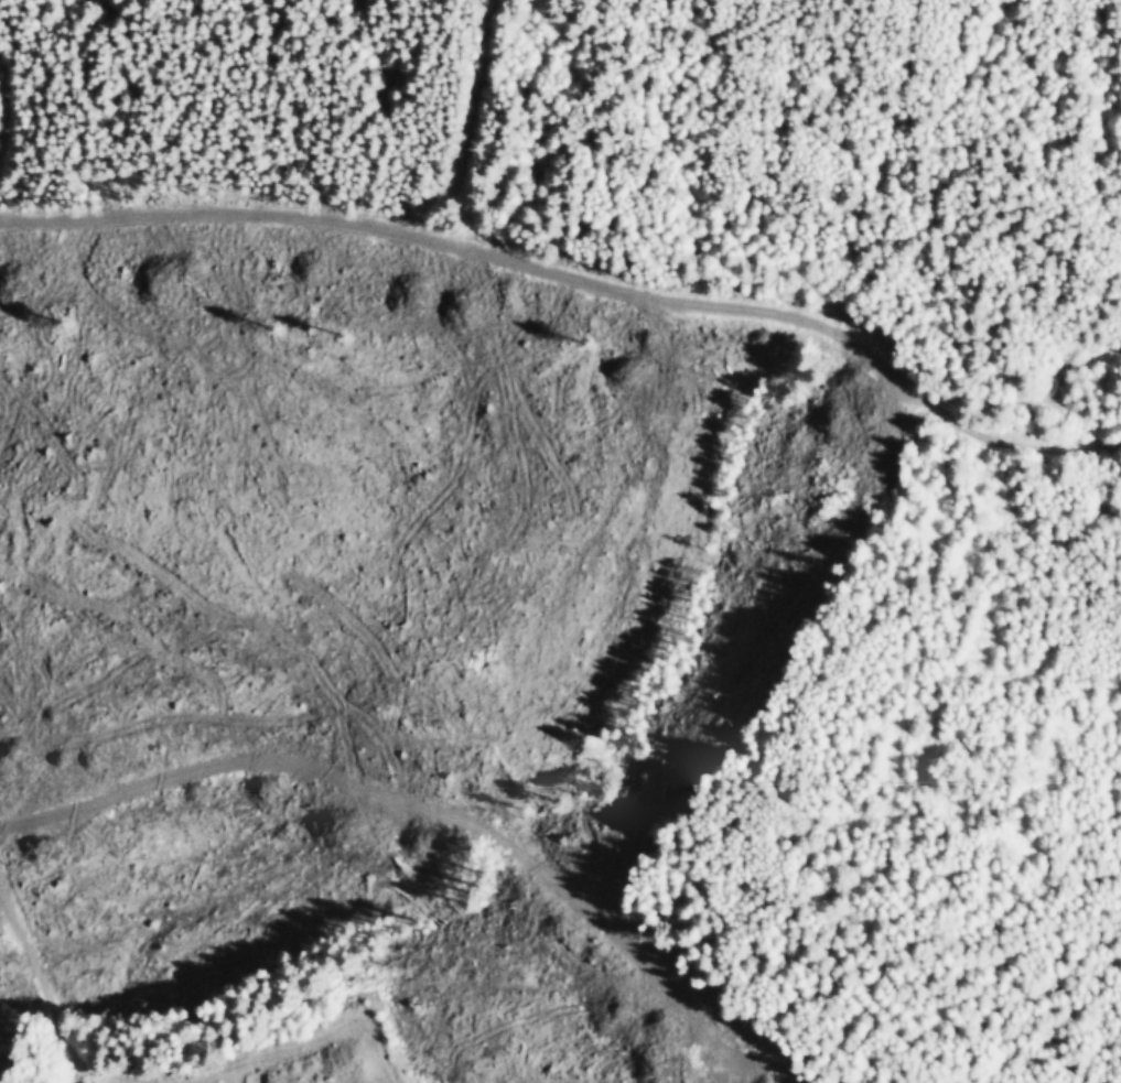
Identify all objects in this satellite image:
road: (1, 111)
road: (474, 112)
road: (402, 802)
road: (42, 985)
quarry: (342, 1053)

